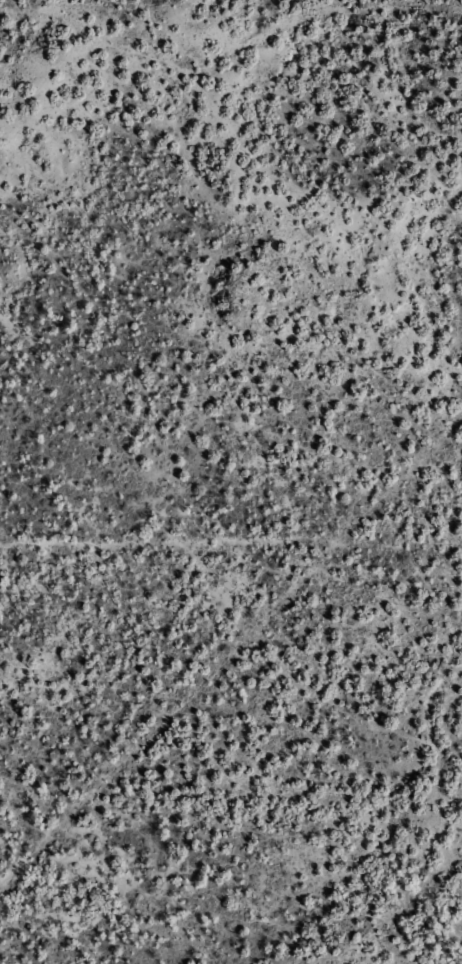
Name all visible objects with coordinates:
road: (227, 160)

